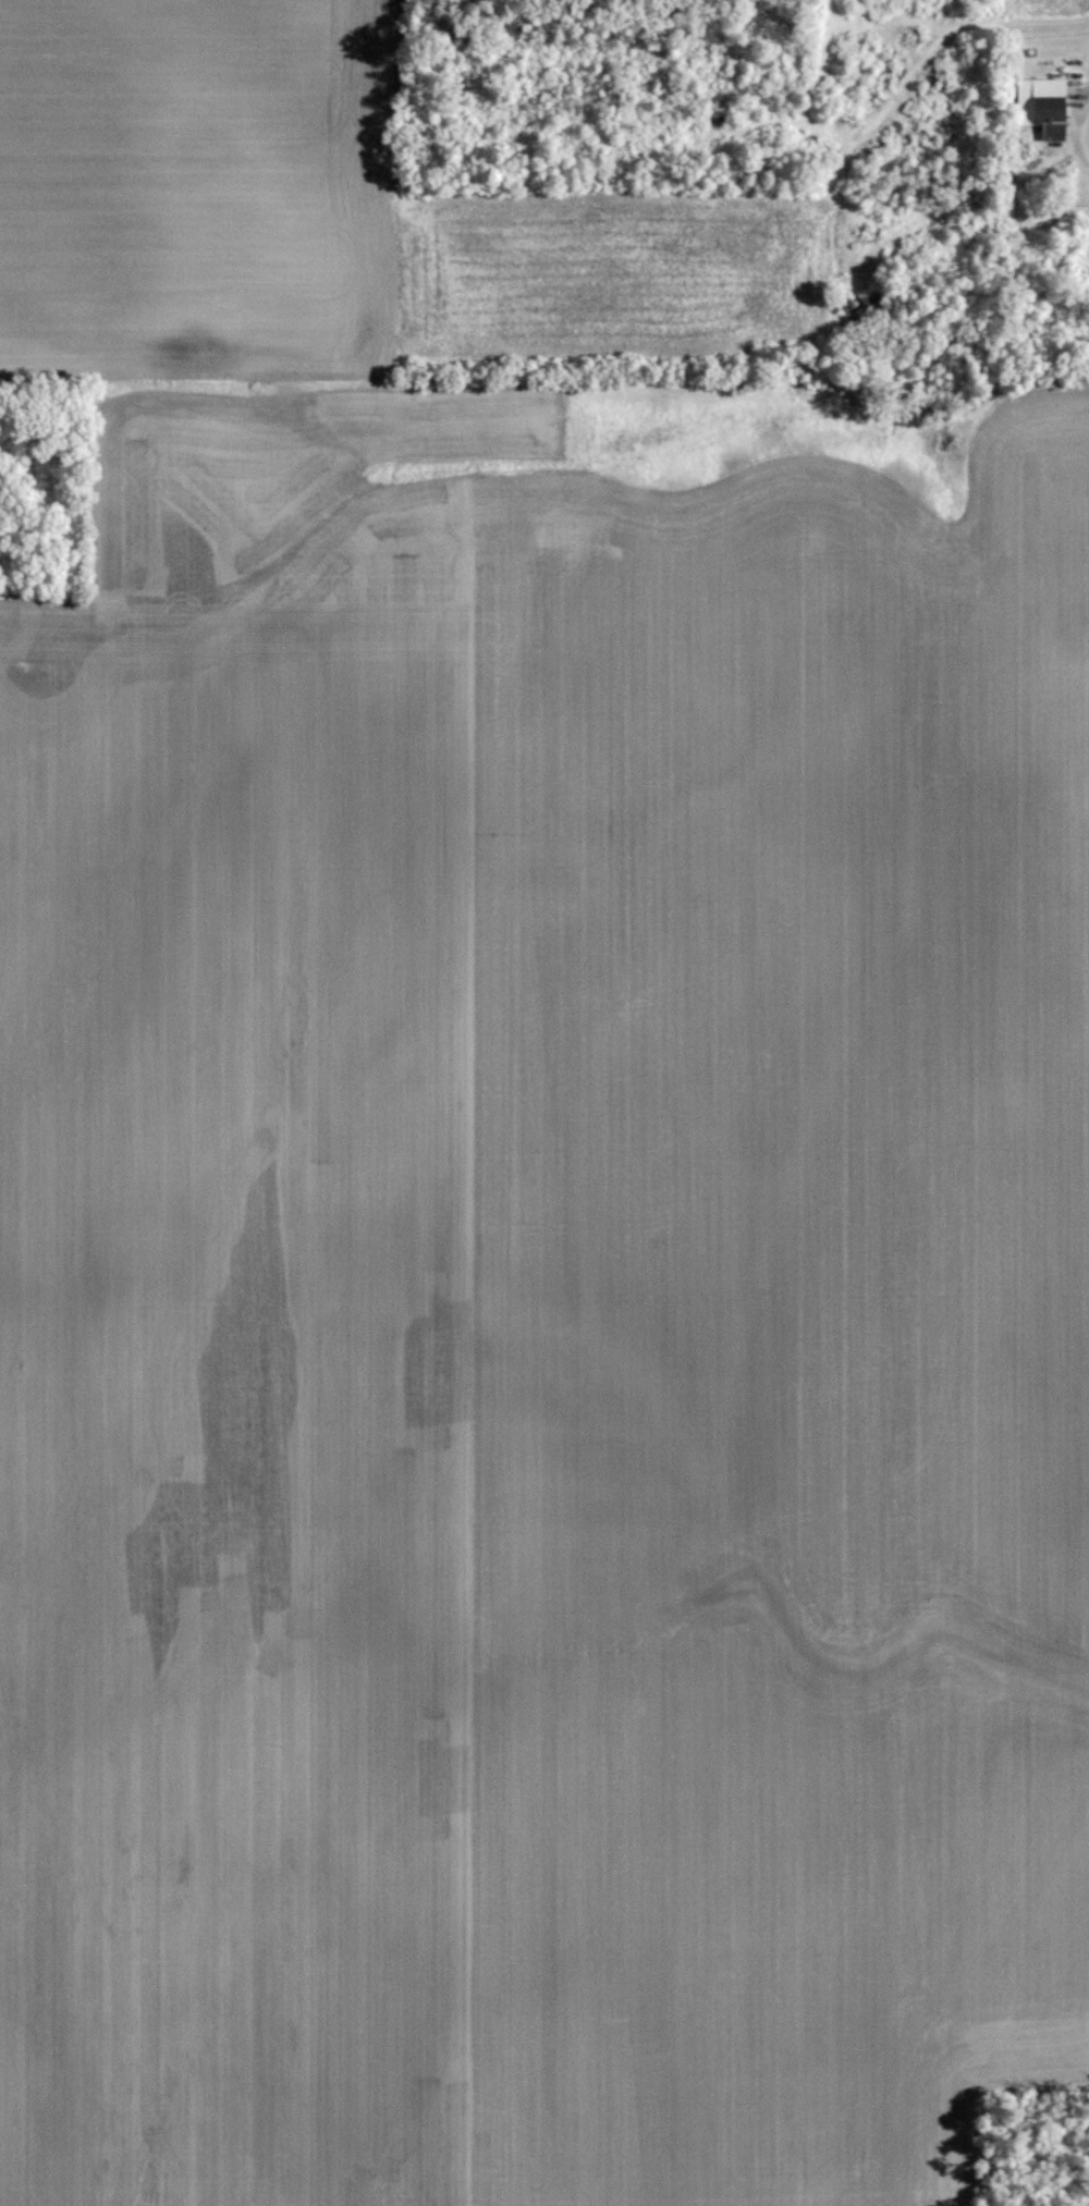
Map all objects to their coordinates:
building: (1043, 106)
road: (1077, 135)
building: (862, 308)

